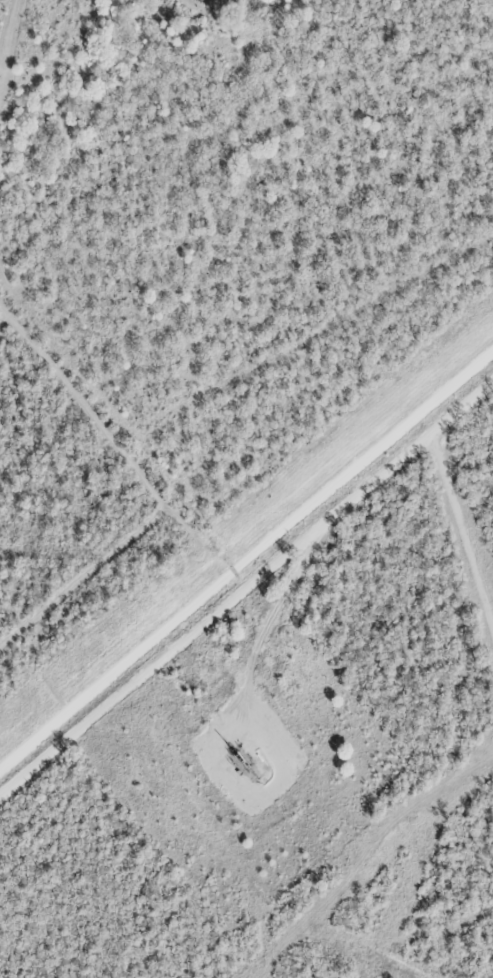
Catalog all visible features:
road: (313, 547)
road: (166, 654)

